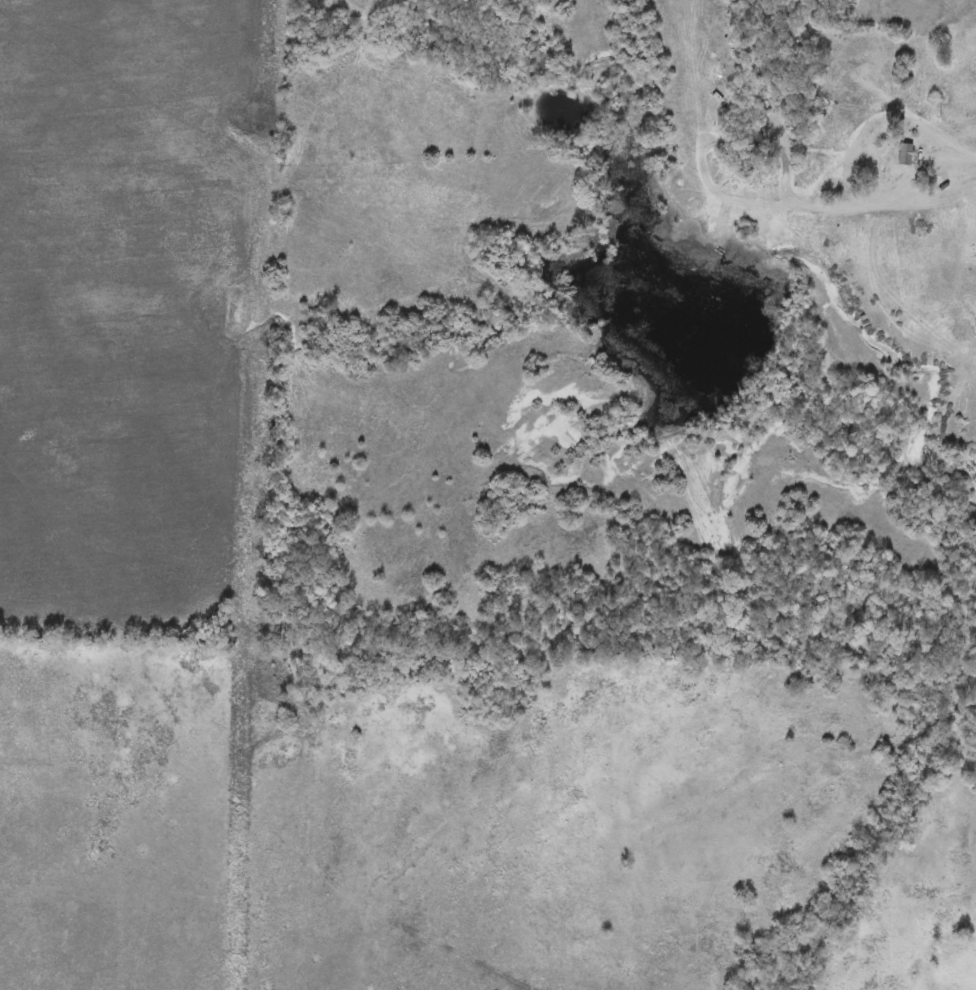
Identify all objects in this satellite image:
building: (907, 155)
building: (971, 774)

